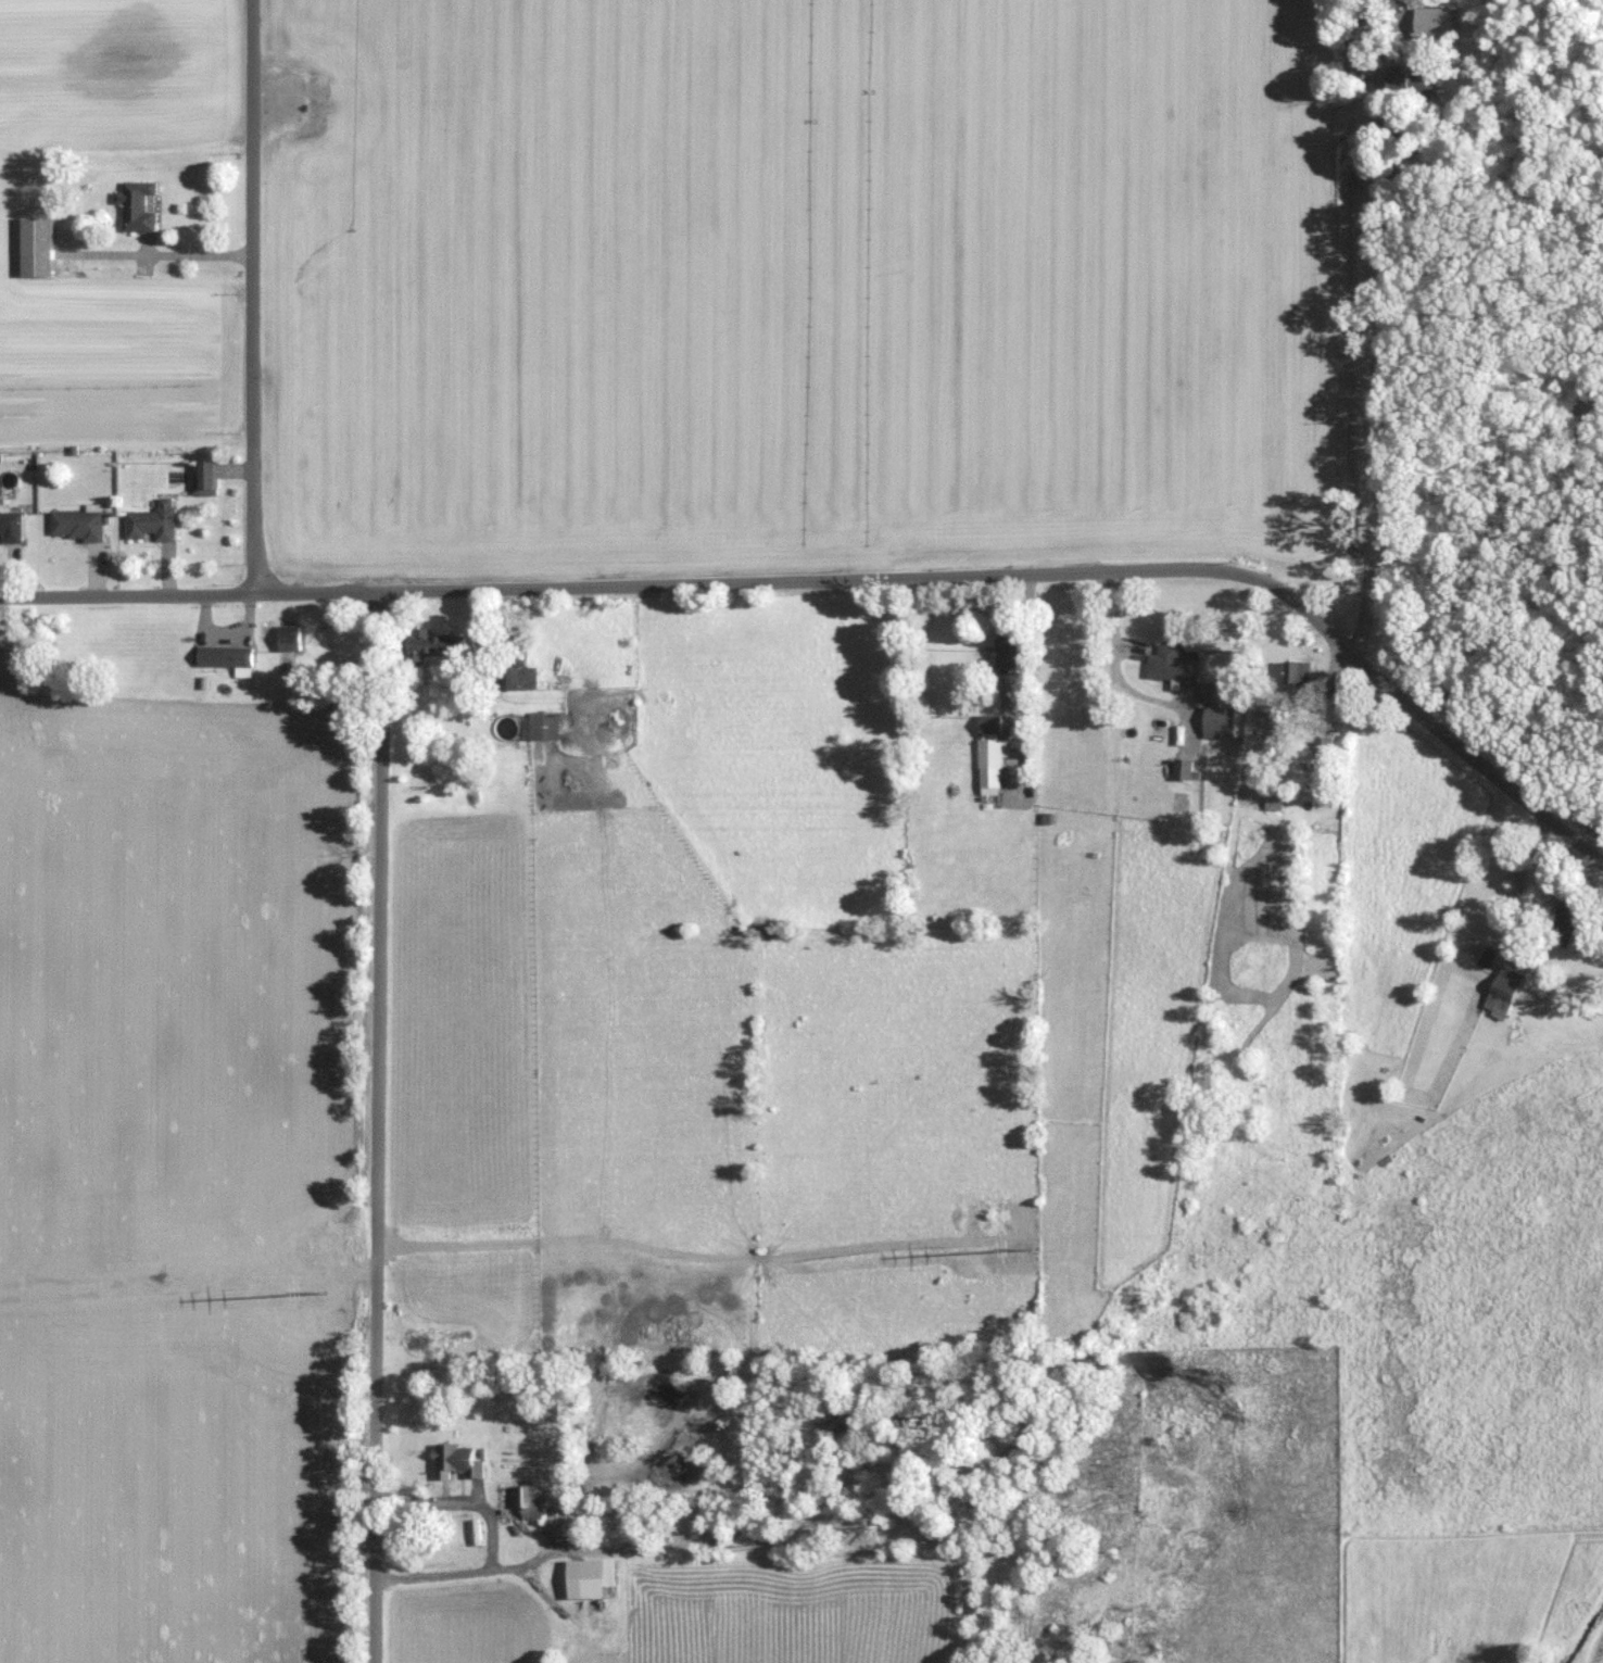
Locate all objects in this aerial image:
building: (1355, 43)
building: (1409, 84)
building: (136, 205)
building: (36, 247)
crop: (804, 286)
road: (252, 297)
road: (1350, 362)
building: (206, 478)
building: (151, 522)
building: (76, 525)
building: (10, 527)
road: (853, 581)
building: (289, 638)
building: (431, 645)
building: (1005, 651)
building: (224, 656)
building: (1172, 666)
building: (1297, 676)
building: (517, 678)
building: (1219, 719)
building: (989, 725)
building: (542, 728)
building: (1322, 747)
building: (988, 753)
building: (1184, 769)
building: (1274, 801)
building: (1565, 917)
building: (1487, 957)
building: (1502, 992)
road: (378, 1127)
power tower: (996, 1213)
power tower: (327, 1250)
building: (455, 1463)
building: (518, 1502)

